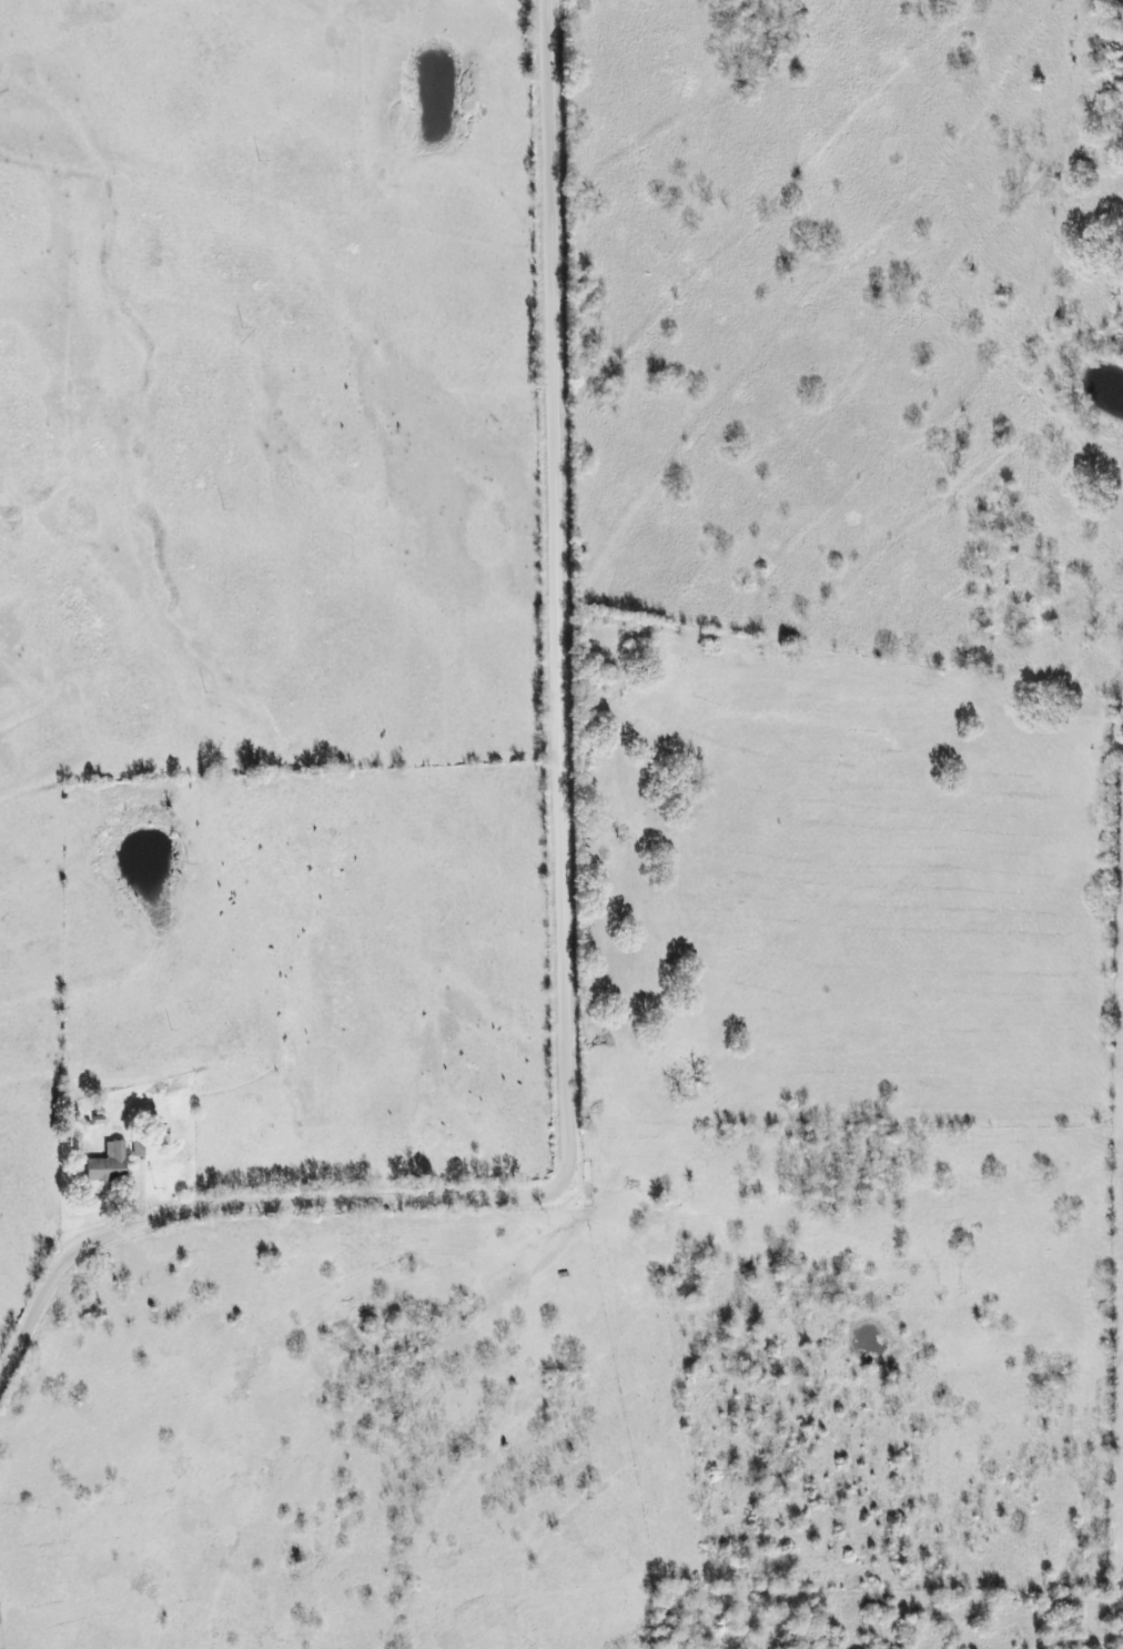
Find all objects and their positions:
road: (570, 921)
building: (108, 1164)

